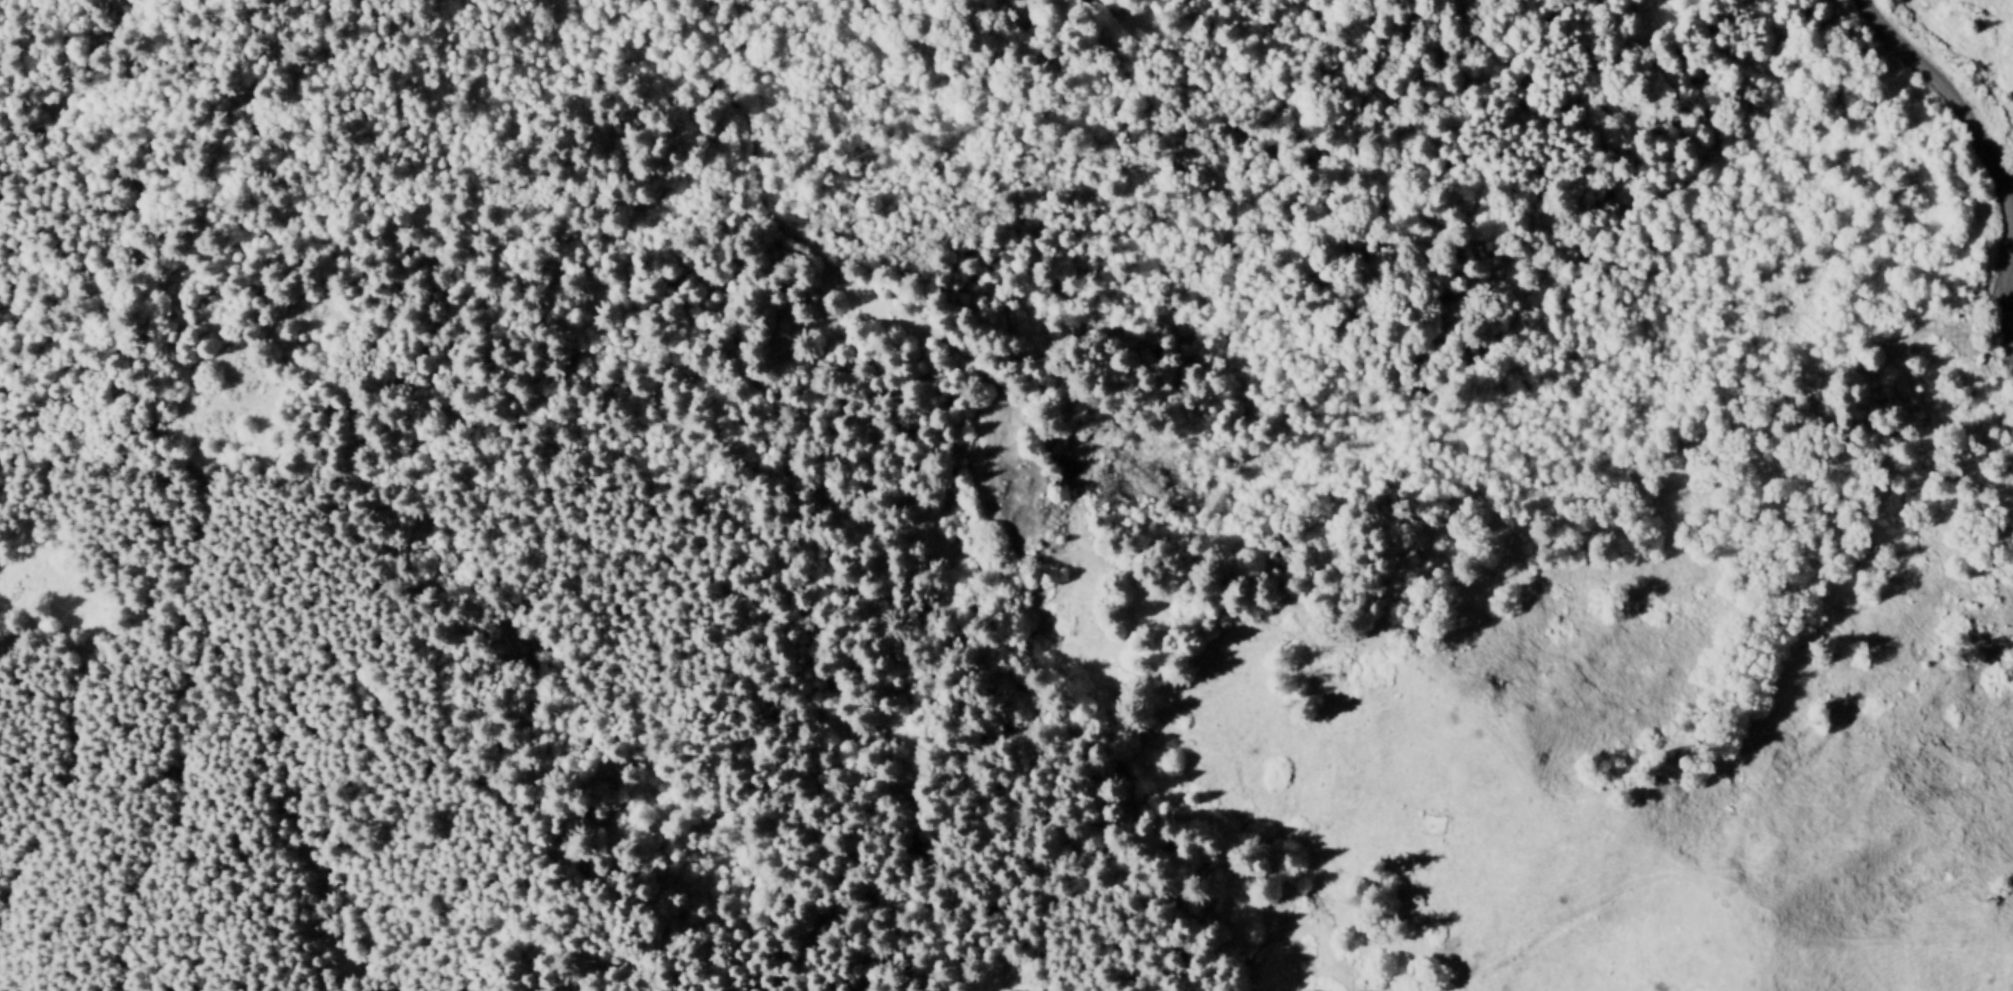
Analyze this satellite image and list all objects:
road: (1981, 159)
road: (352, 738)
park: (1430, 823)

